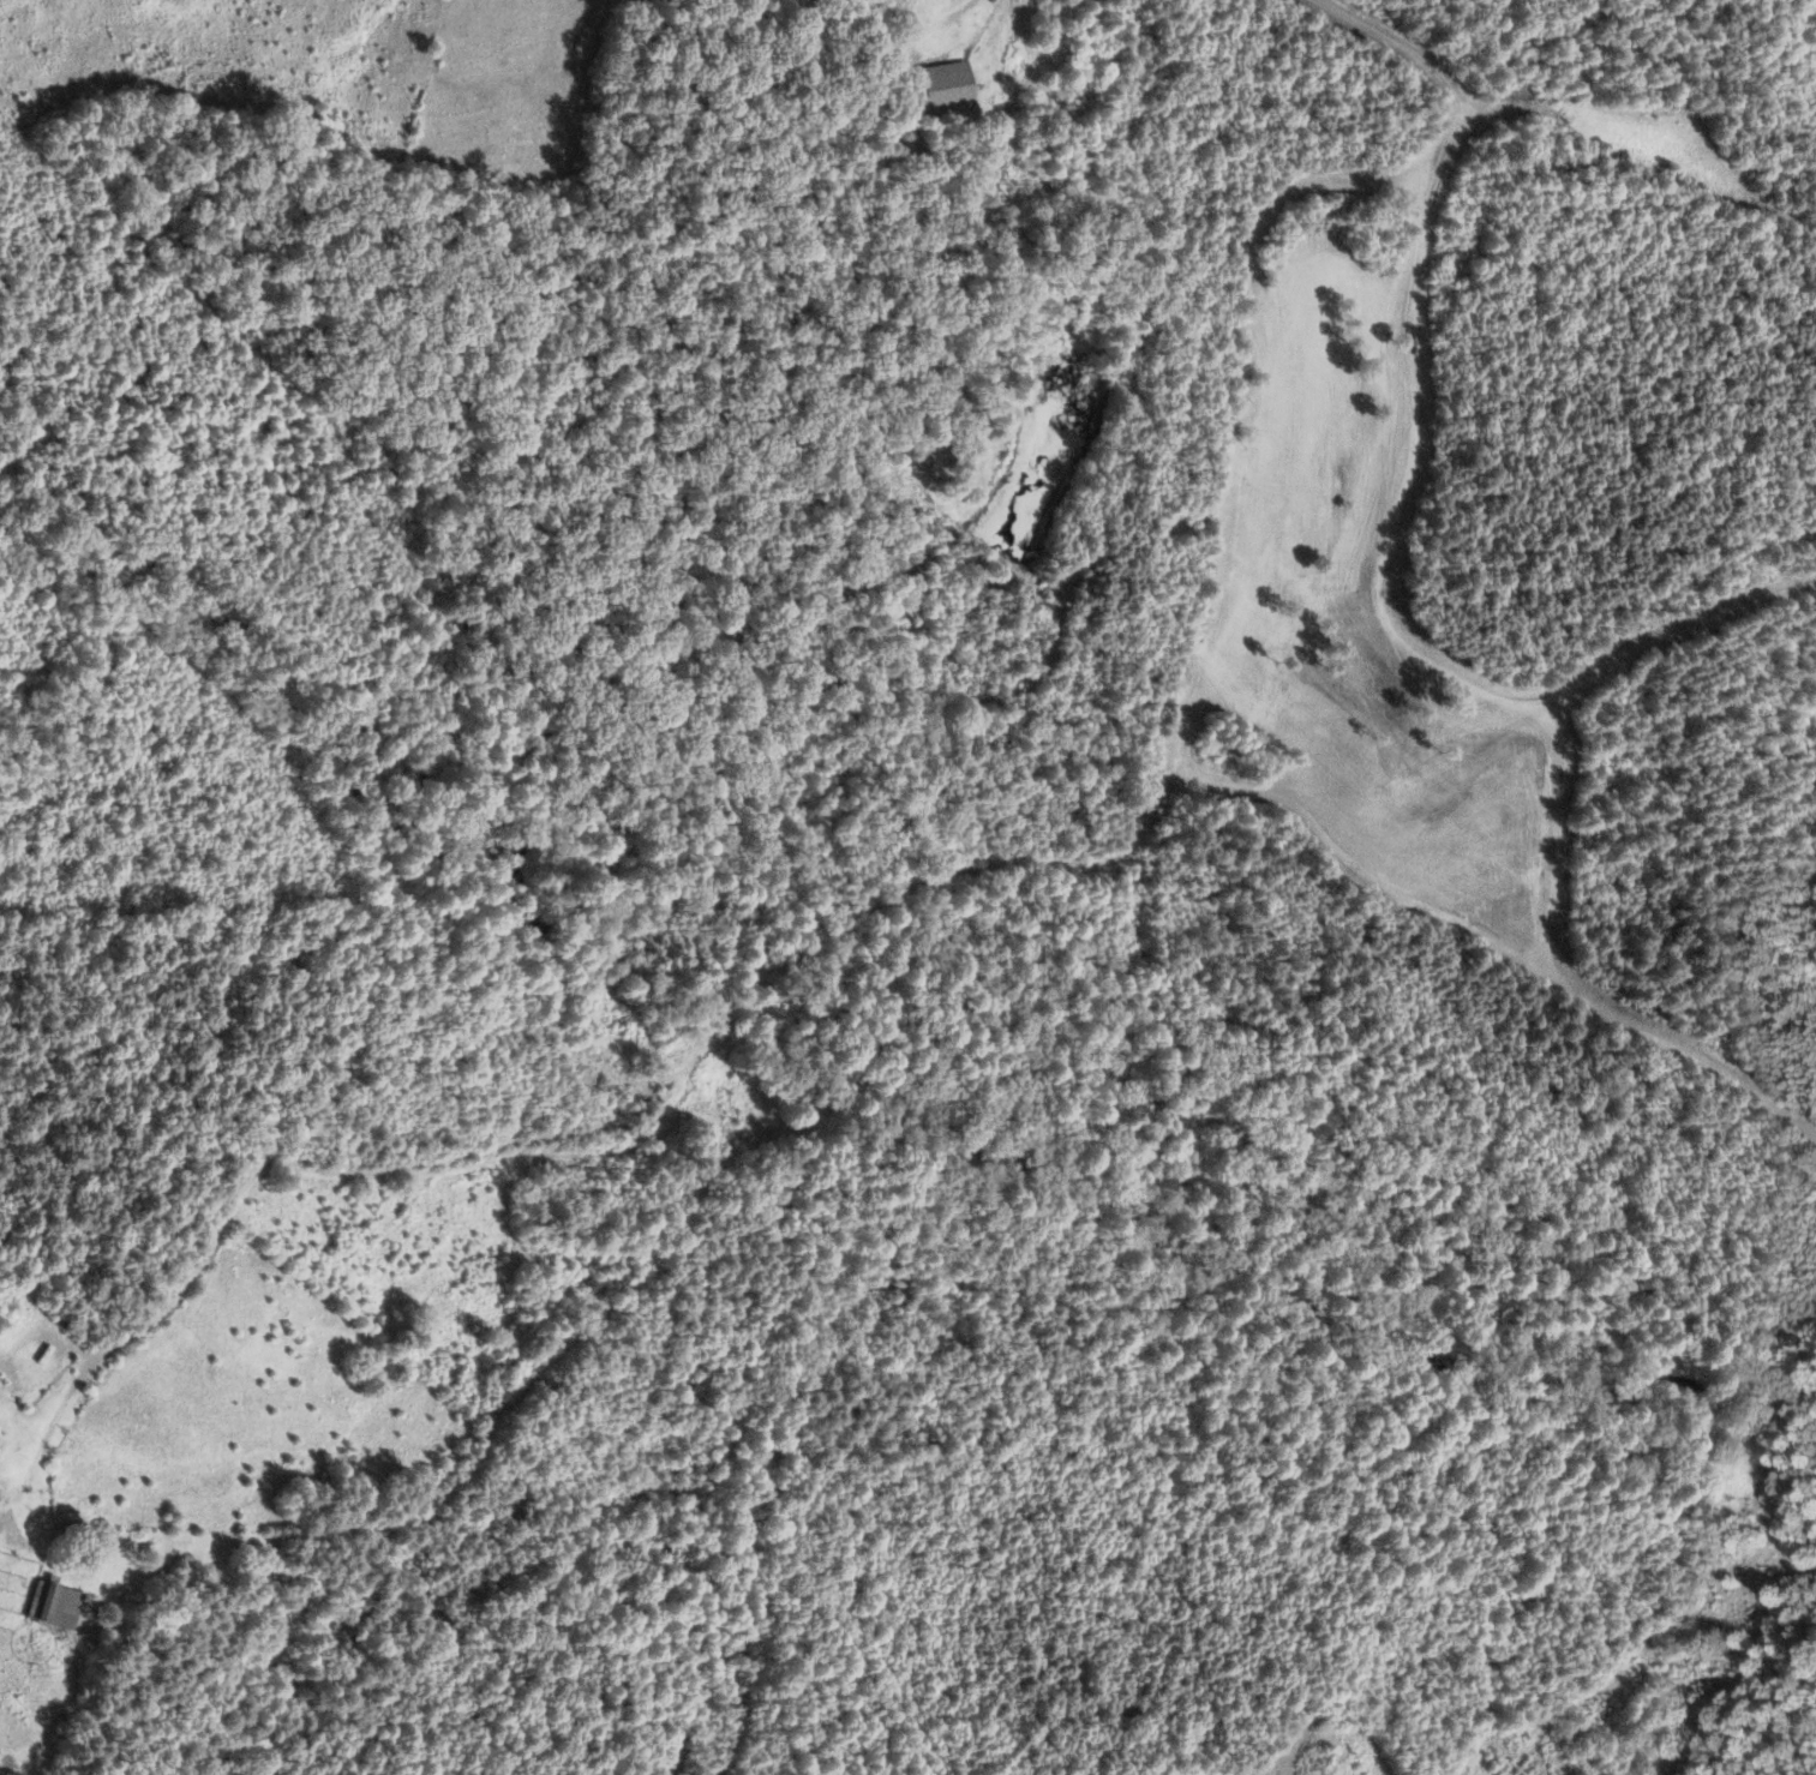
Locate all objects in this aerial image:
building: (942, 86)
building: (54, 1606)

